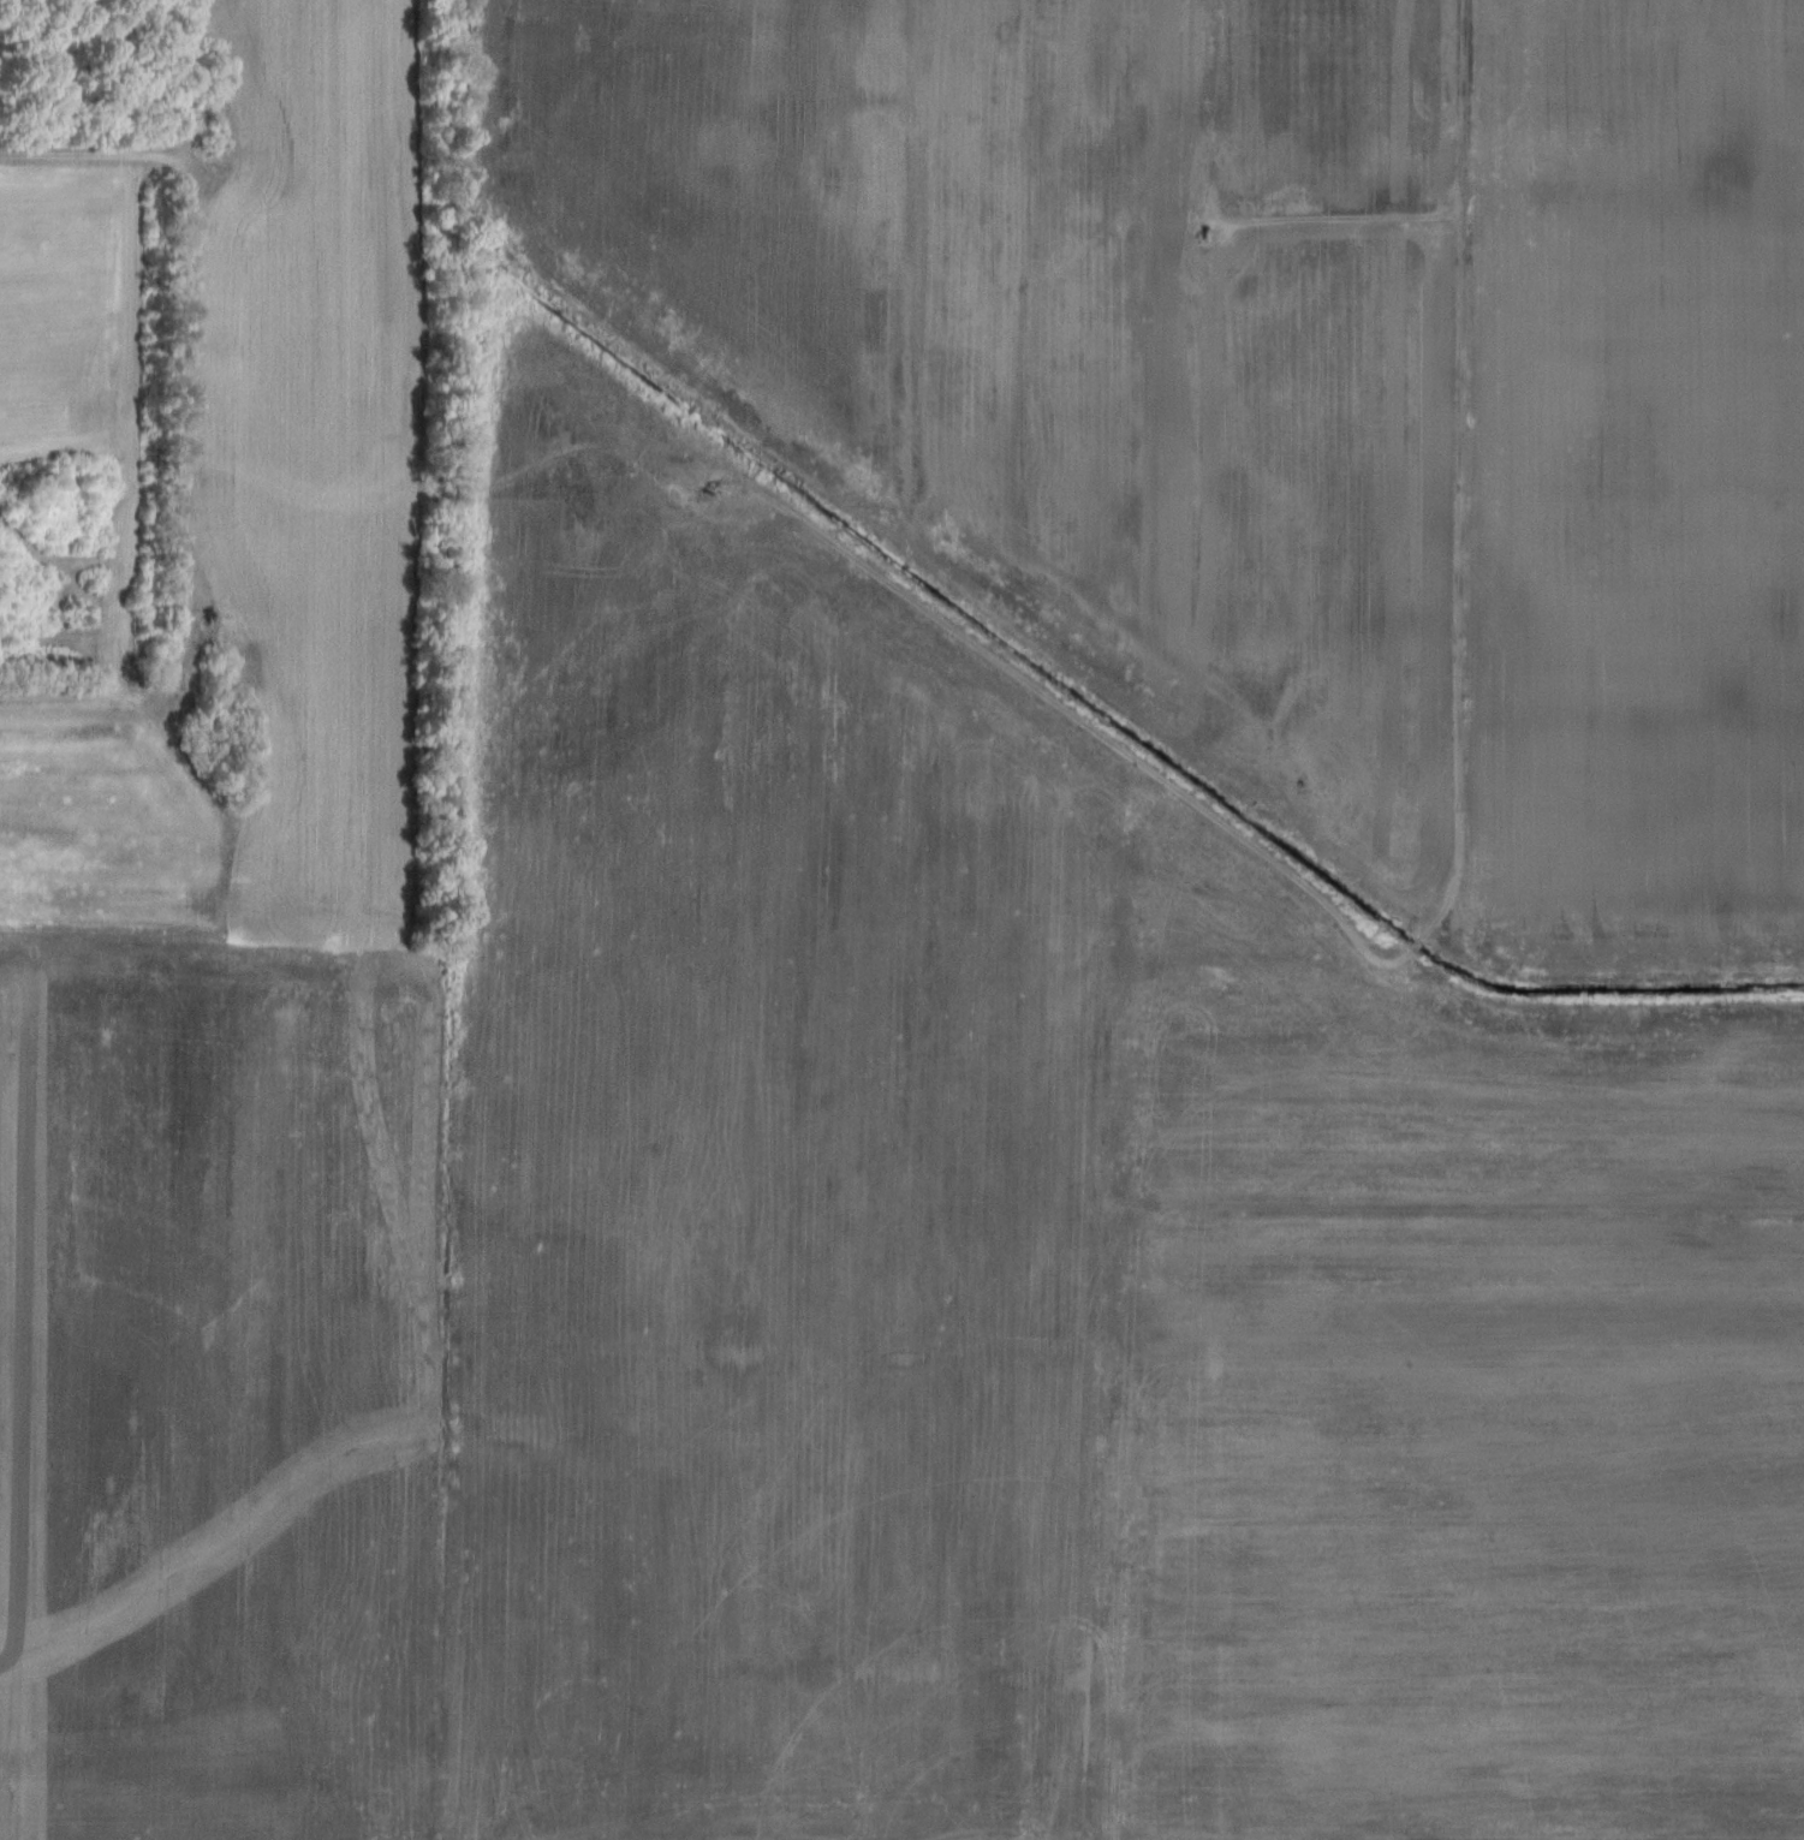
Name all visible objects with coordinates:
road: (1344, 220)
petroleum well: (1208, 234)
road: (196, 284)
petroleum well: (208, 617)
petroleum well: (184, 692)
road: (1440, 912)

